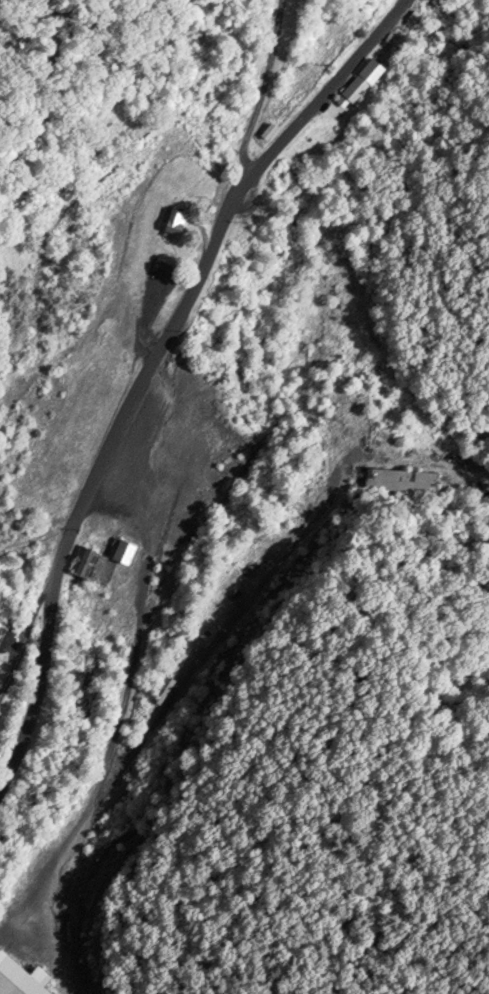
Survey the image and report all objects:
building: (364, 80)
building: (178, 222)
road: (146, 370)
building: (370, 474)
building: (126, 550)
building: (90, 561)
building: (22, 977)

